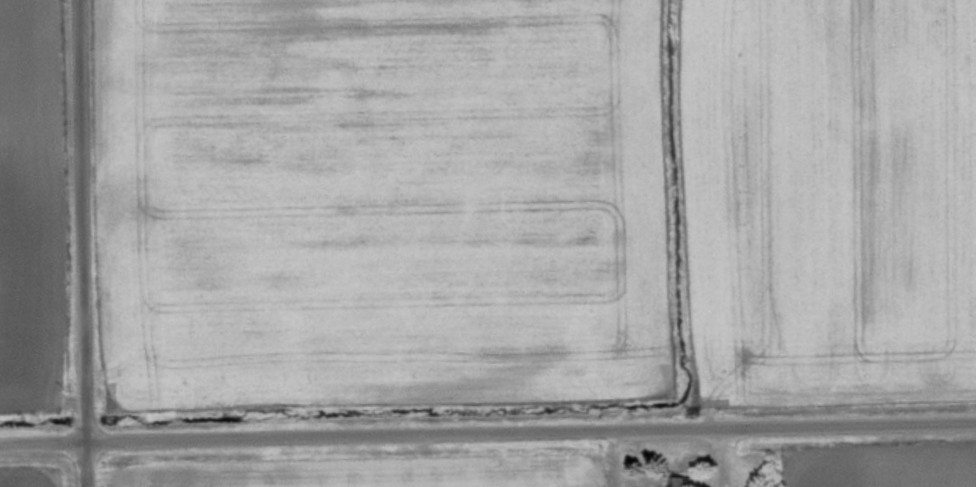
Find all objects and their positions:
road: (78, 243)
road: (487, 434)
building: (688, 481)

